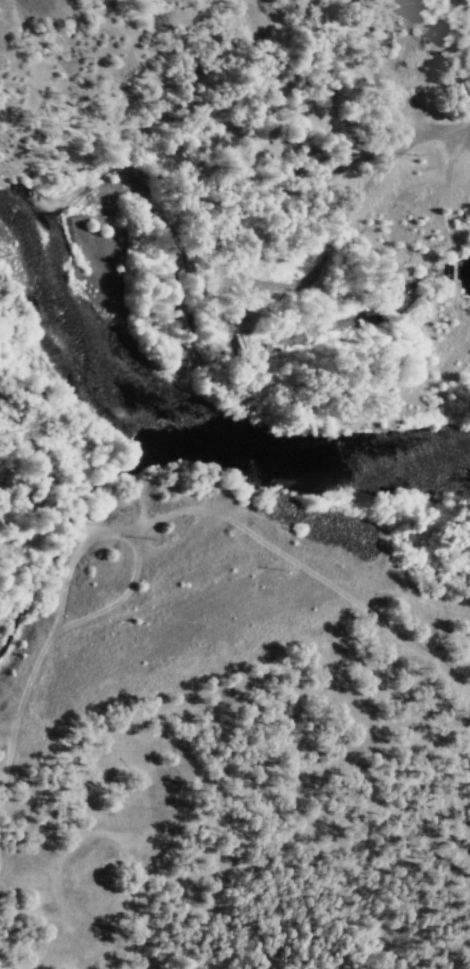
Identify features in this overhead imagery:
road: (24, 694)

